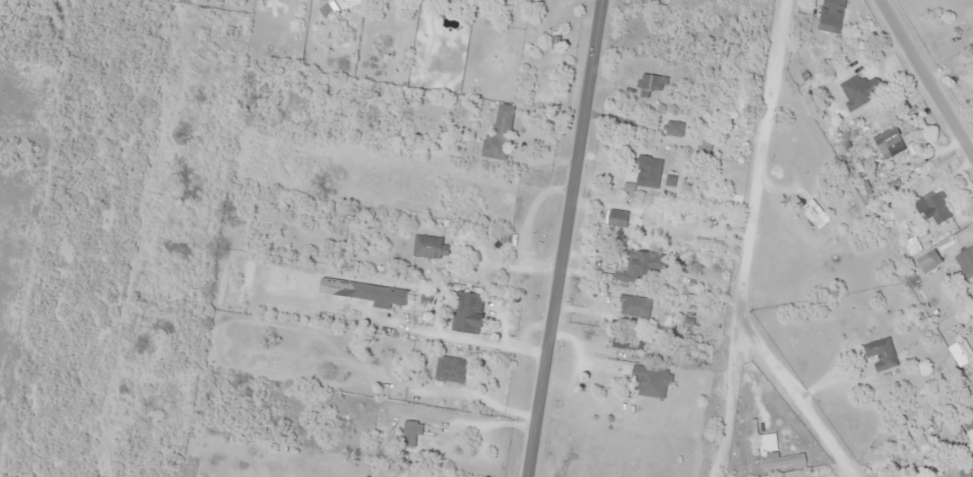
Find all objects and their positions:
building: (967, 14)
building: (830, 15)
building: (972, 67)
road: (925, 83)
building: (651, 86)
building: (860, 89)
building: (672, 127)
building: (498, 133)
building: (889, 141)
building: (646, 171)
building: (811, 216)
building: (610, 217)
road: (561, 238)
building: (428, 246)
building: (965, 261)
building: (647, 263)
building: (219, 284)
building: (633, 307)
building: (466, 312)
building: (879, 353)
building: (448, 369)
building: (650, 381)
building: (968, 425)
building: (370, 431)
building: (410, 432)
building: (781, 459)

